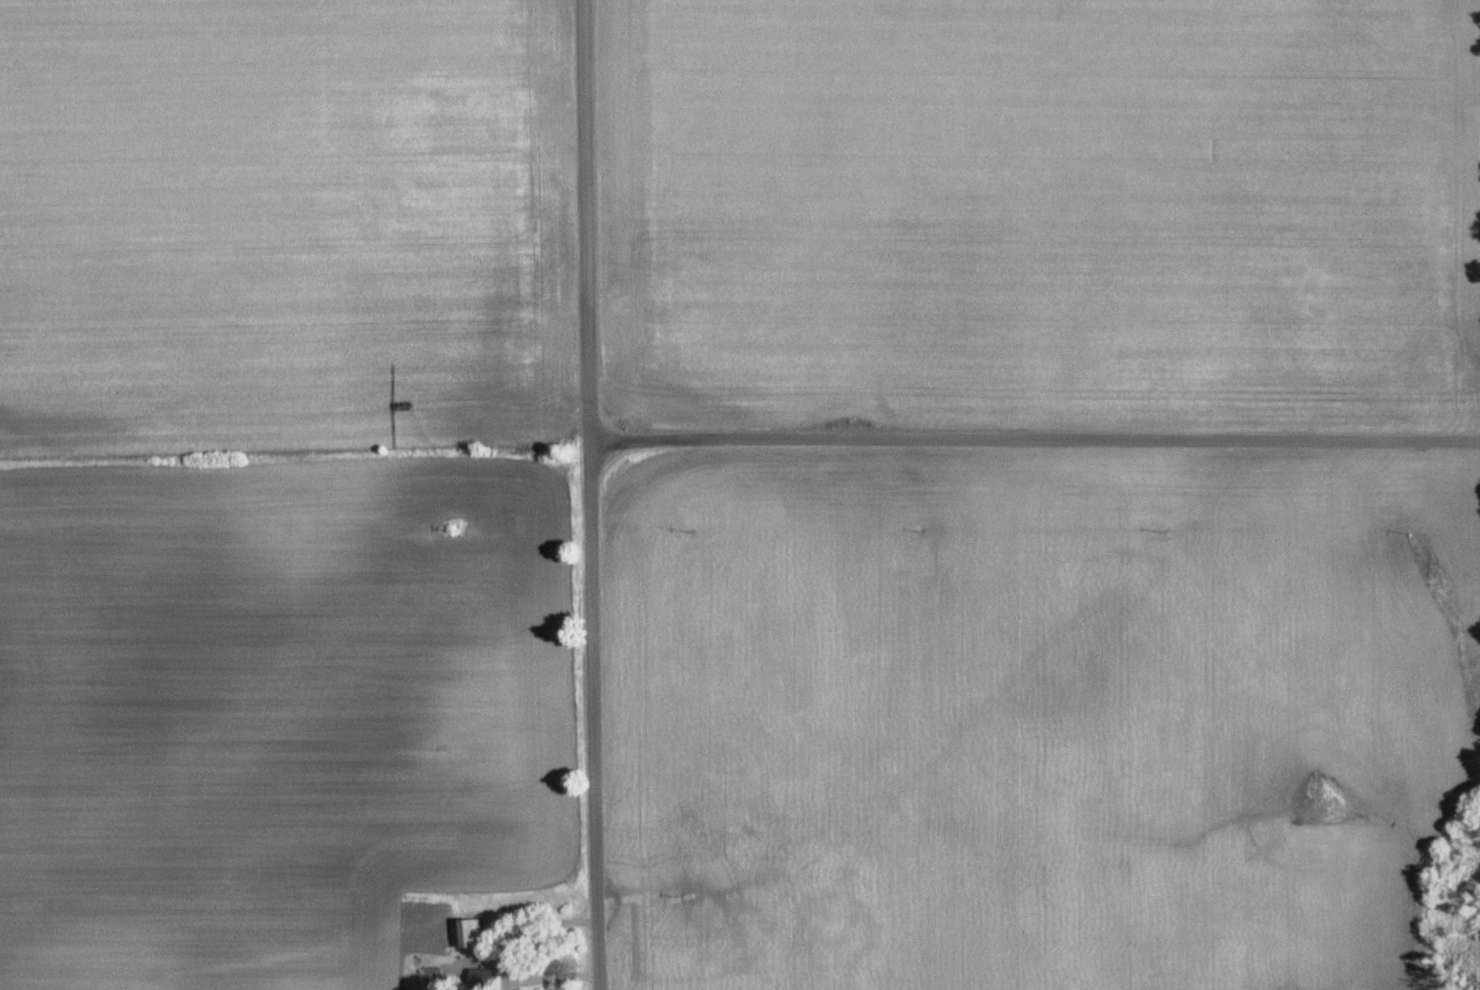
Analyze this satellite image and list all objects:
road: (1033, 438)
road: (588, 494)
building: (469, 934)
road: (495, 956)
building: (431, 978)
building: (481, 980)

